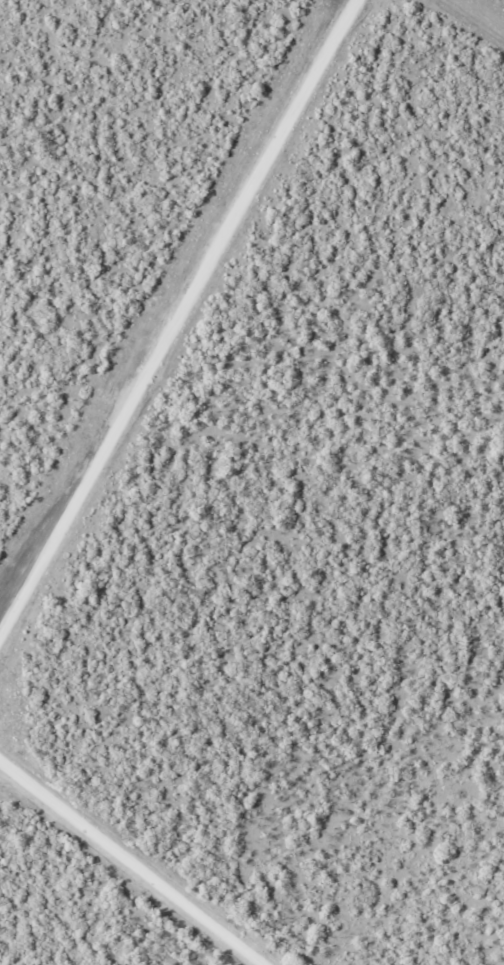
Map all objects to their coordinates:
road: (199, 355)
road: (98, 883)

